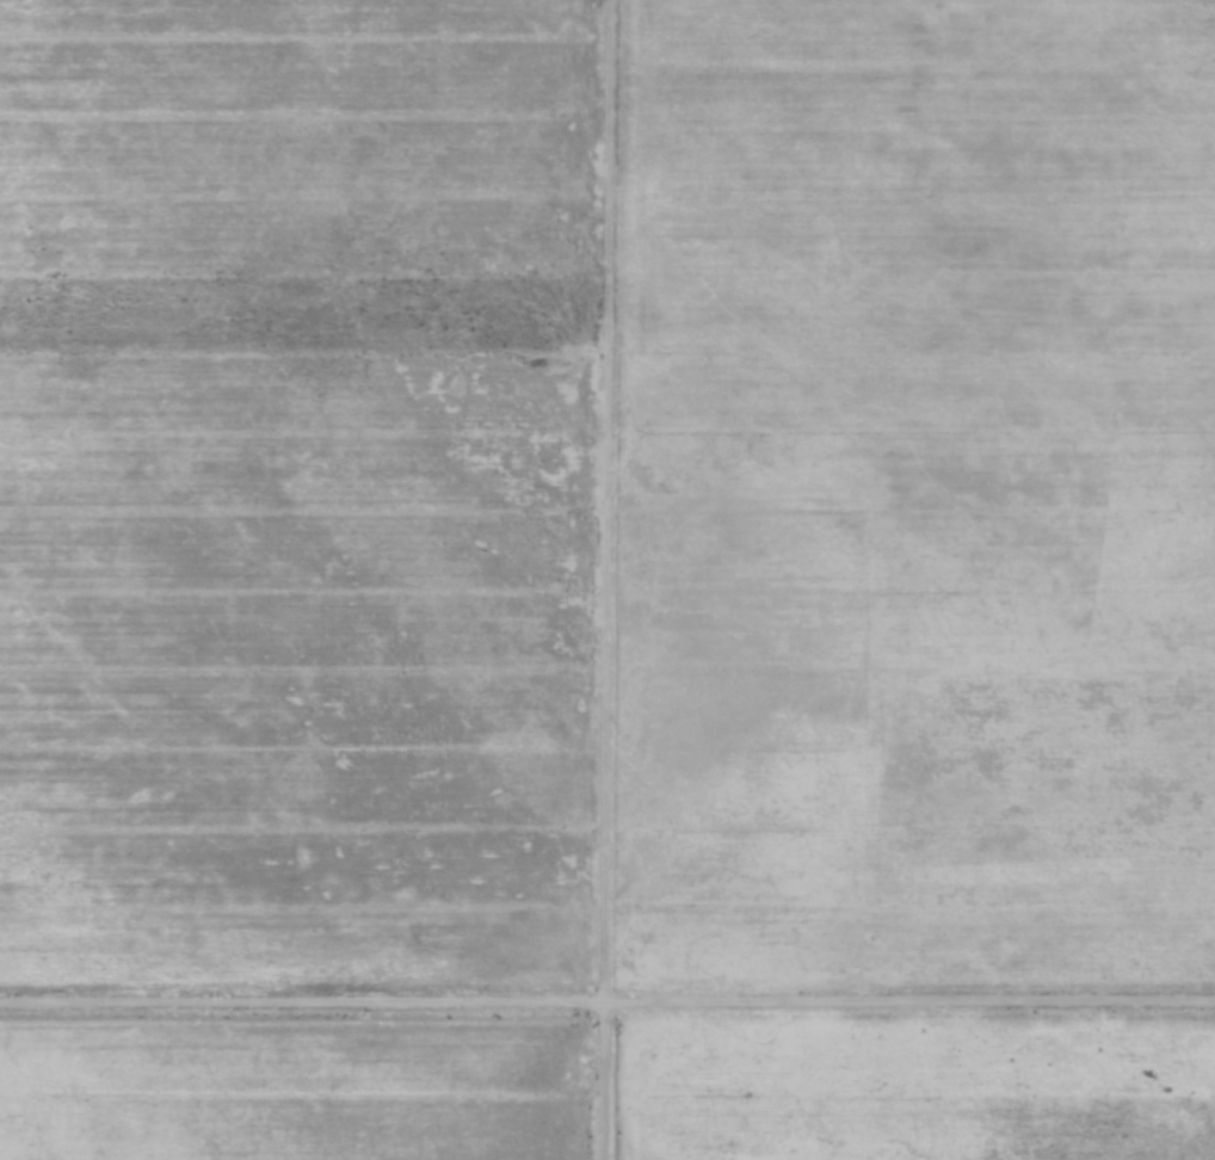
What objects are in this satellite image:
crop: (297, 499)
crop: (912, 499)
road: (607, 1006)
crop: (914, 1087)
crop: (298, 1088)

